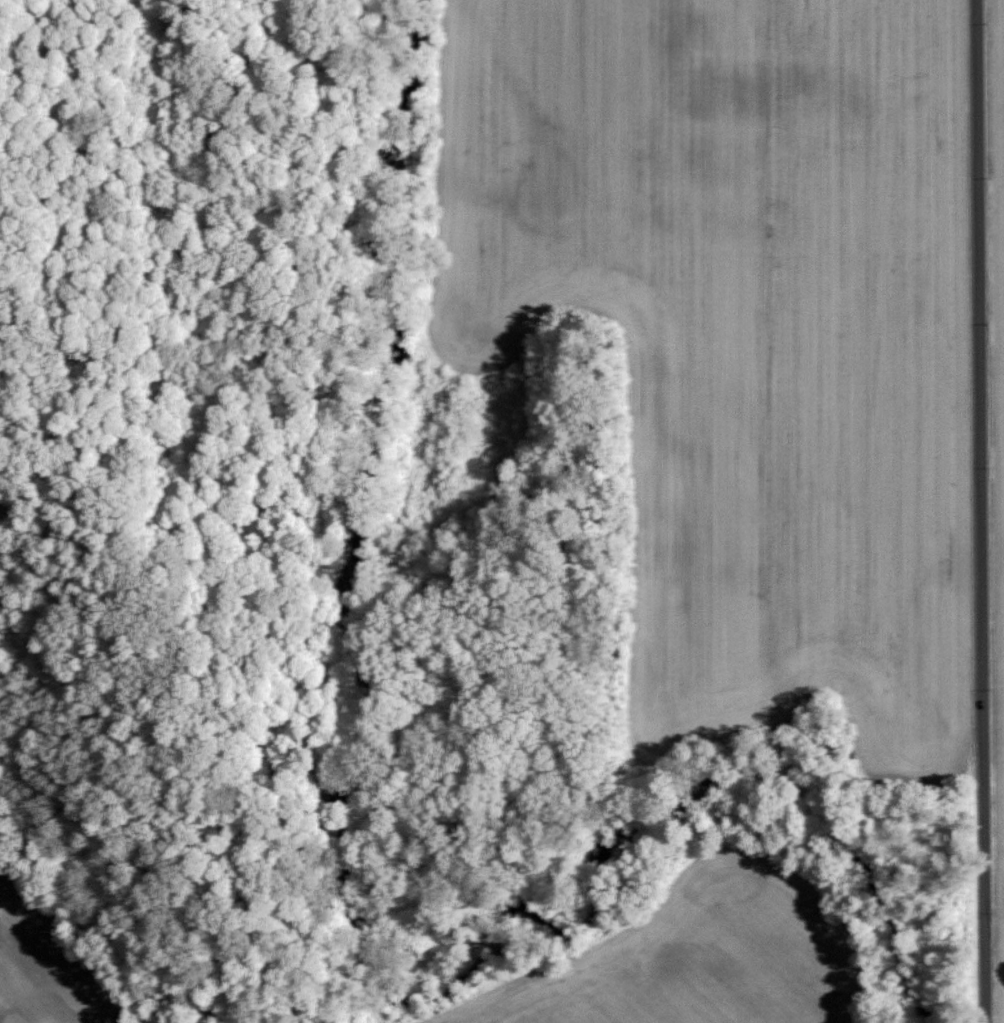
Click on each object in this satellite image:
road: (984, 511)

